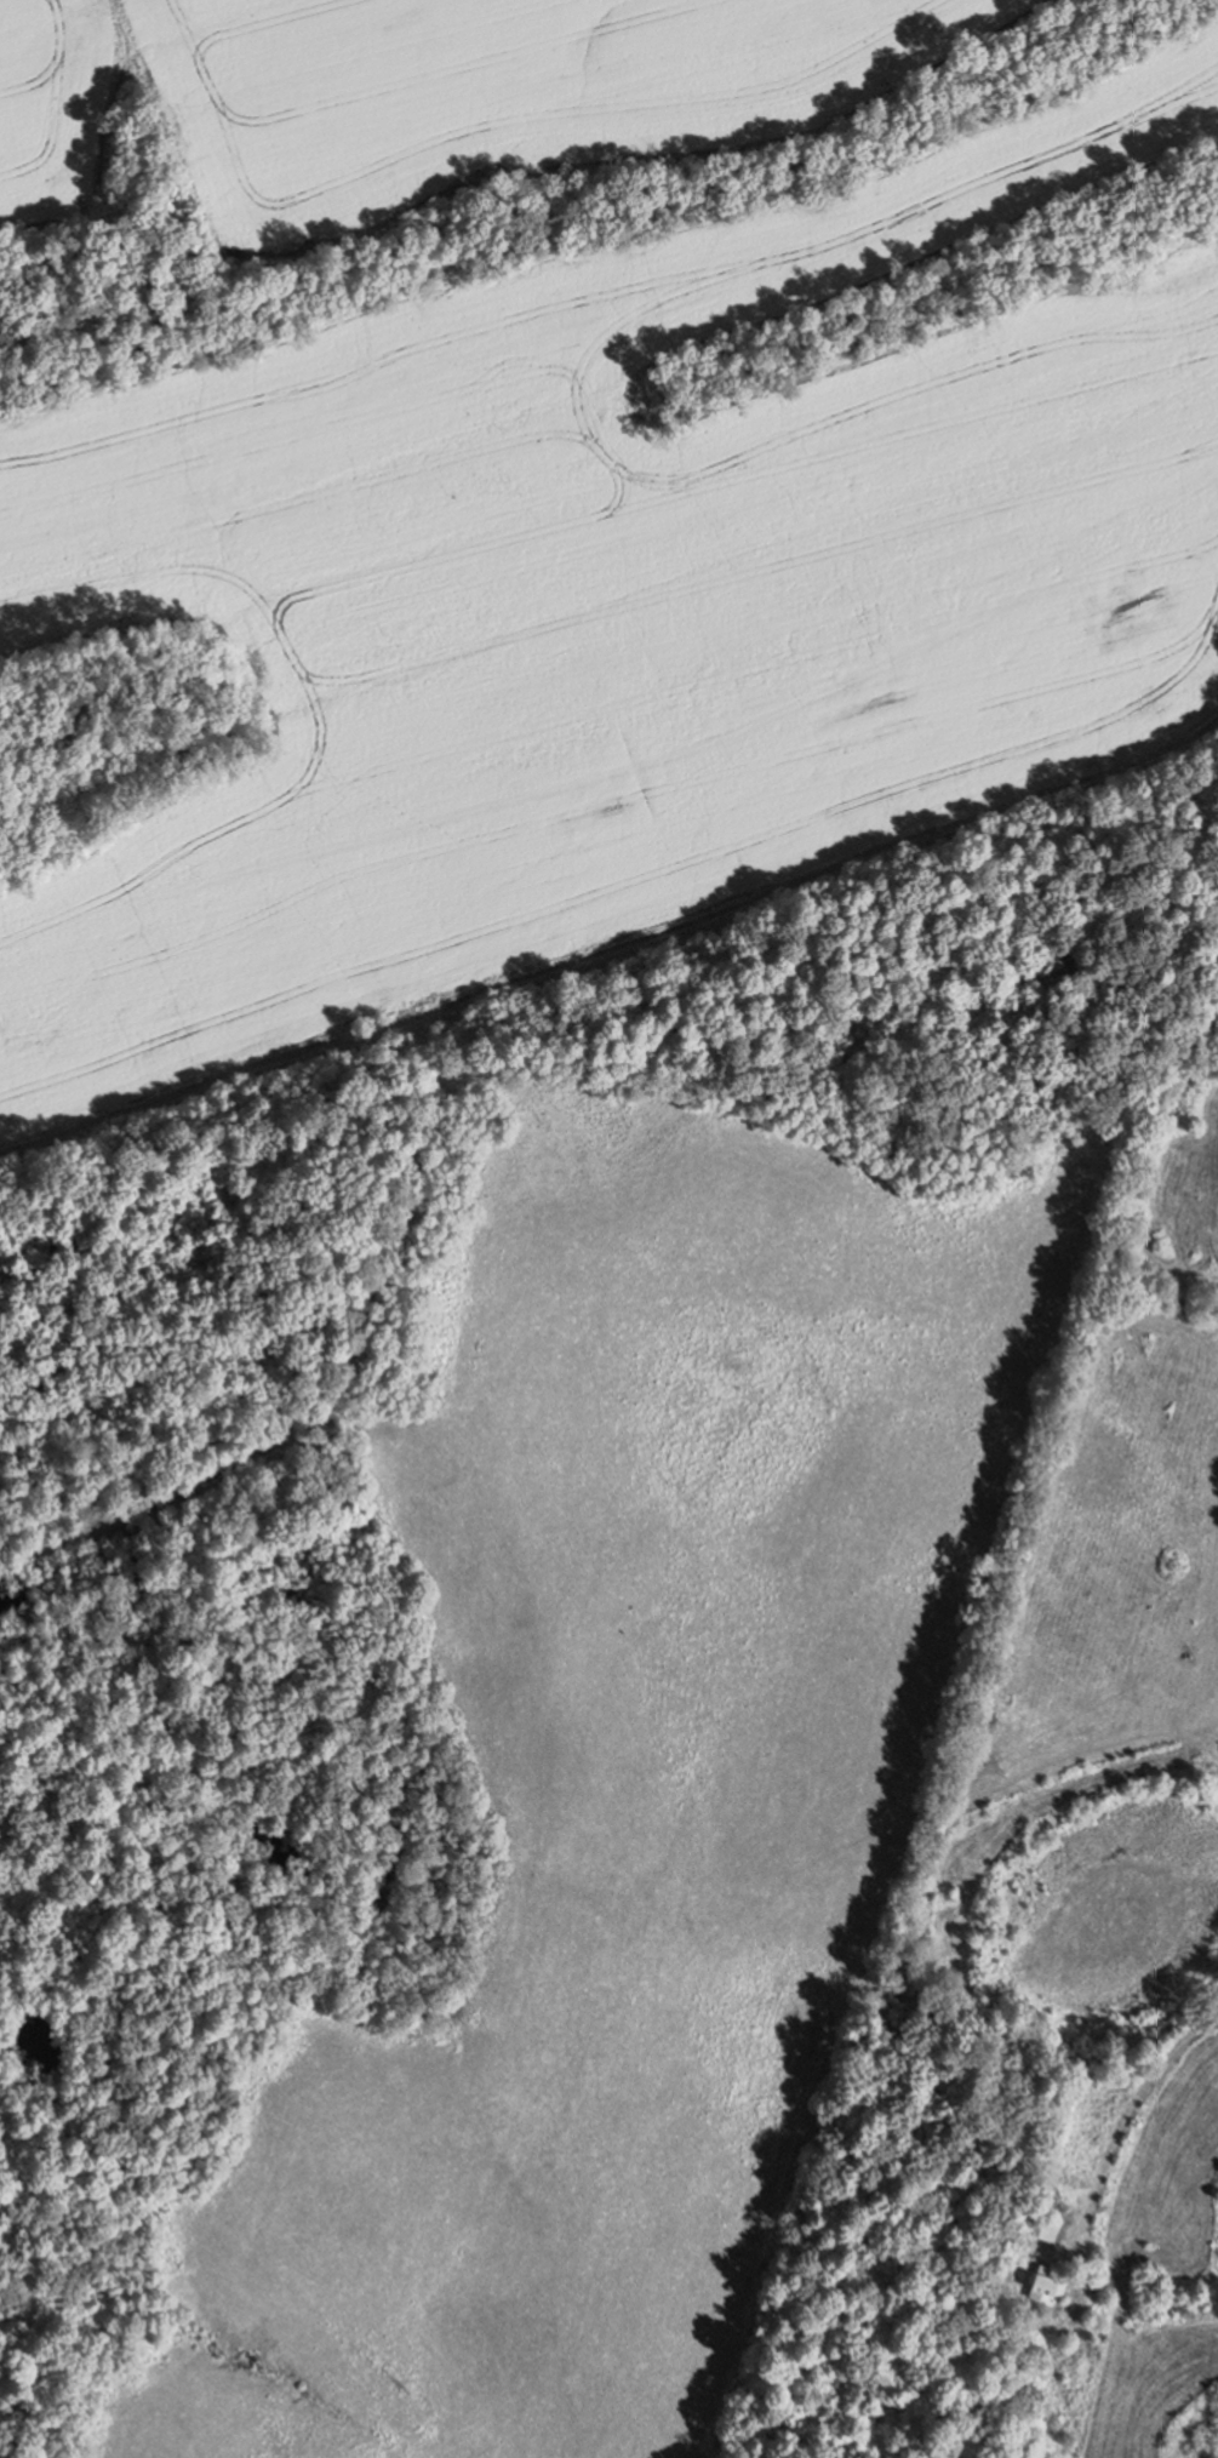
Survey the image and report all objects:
road: (1136, 2107)

